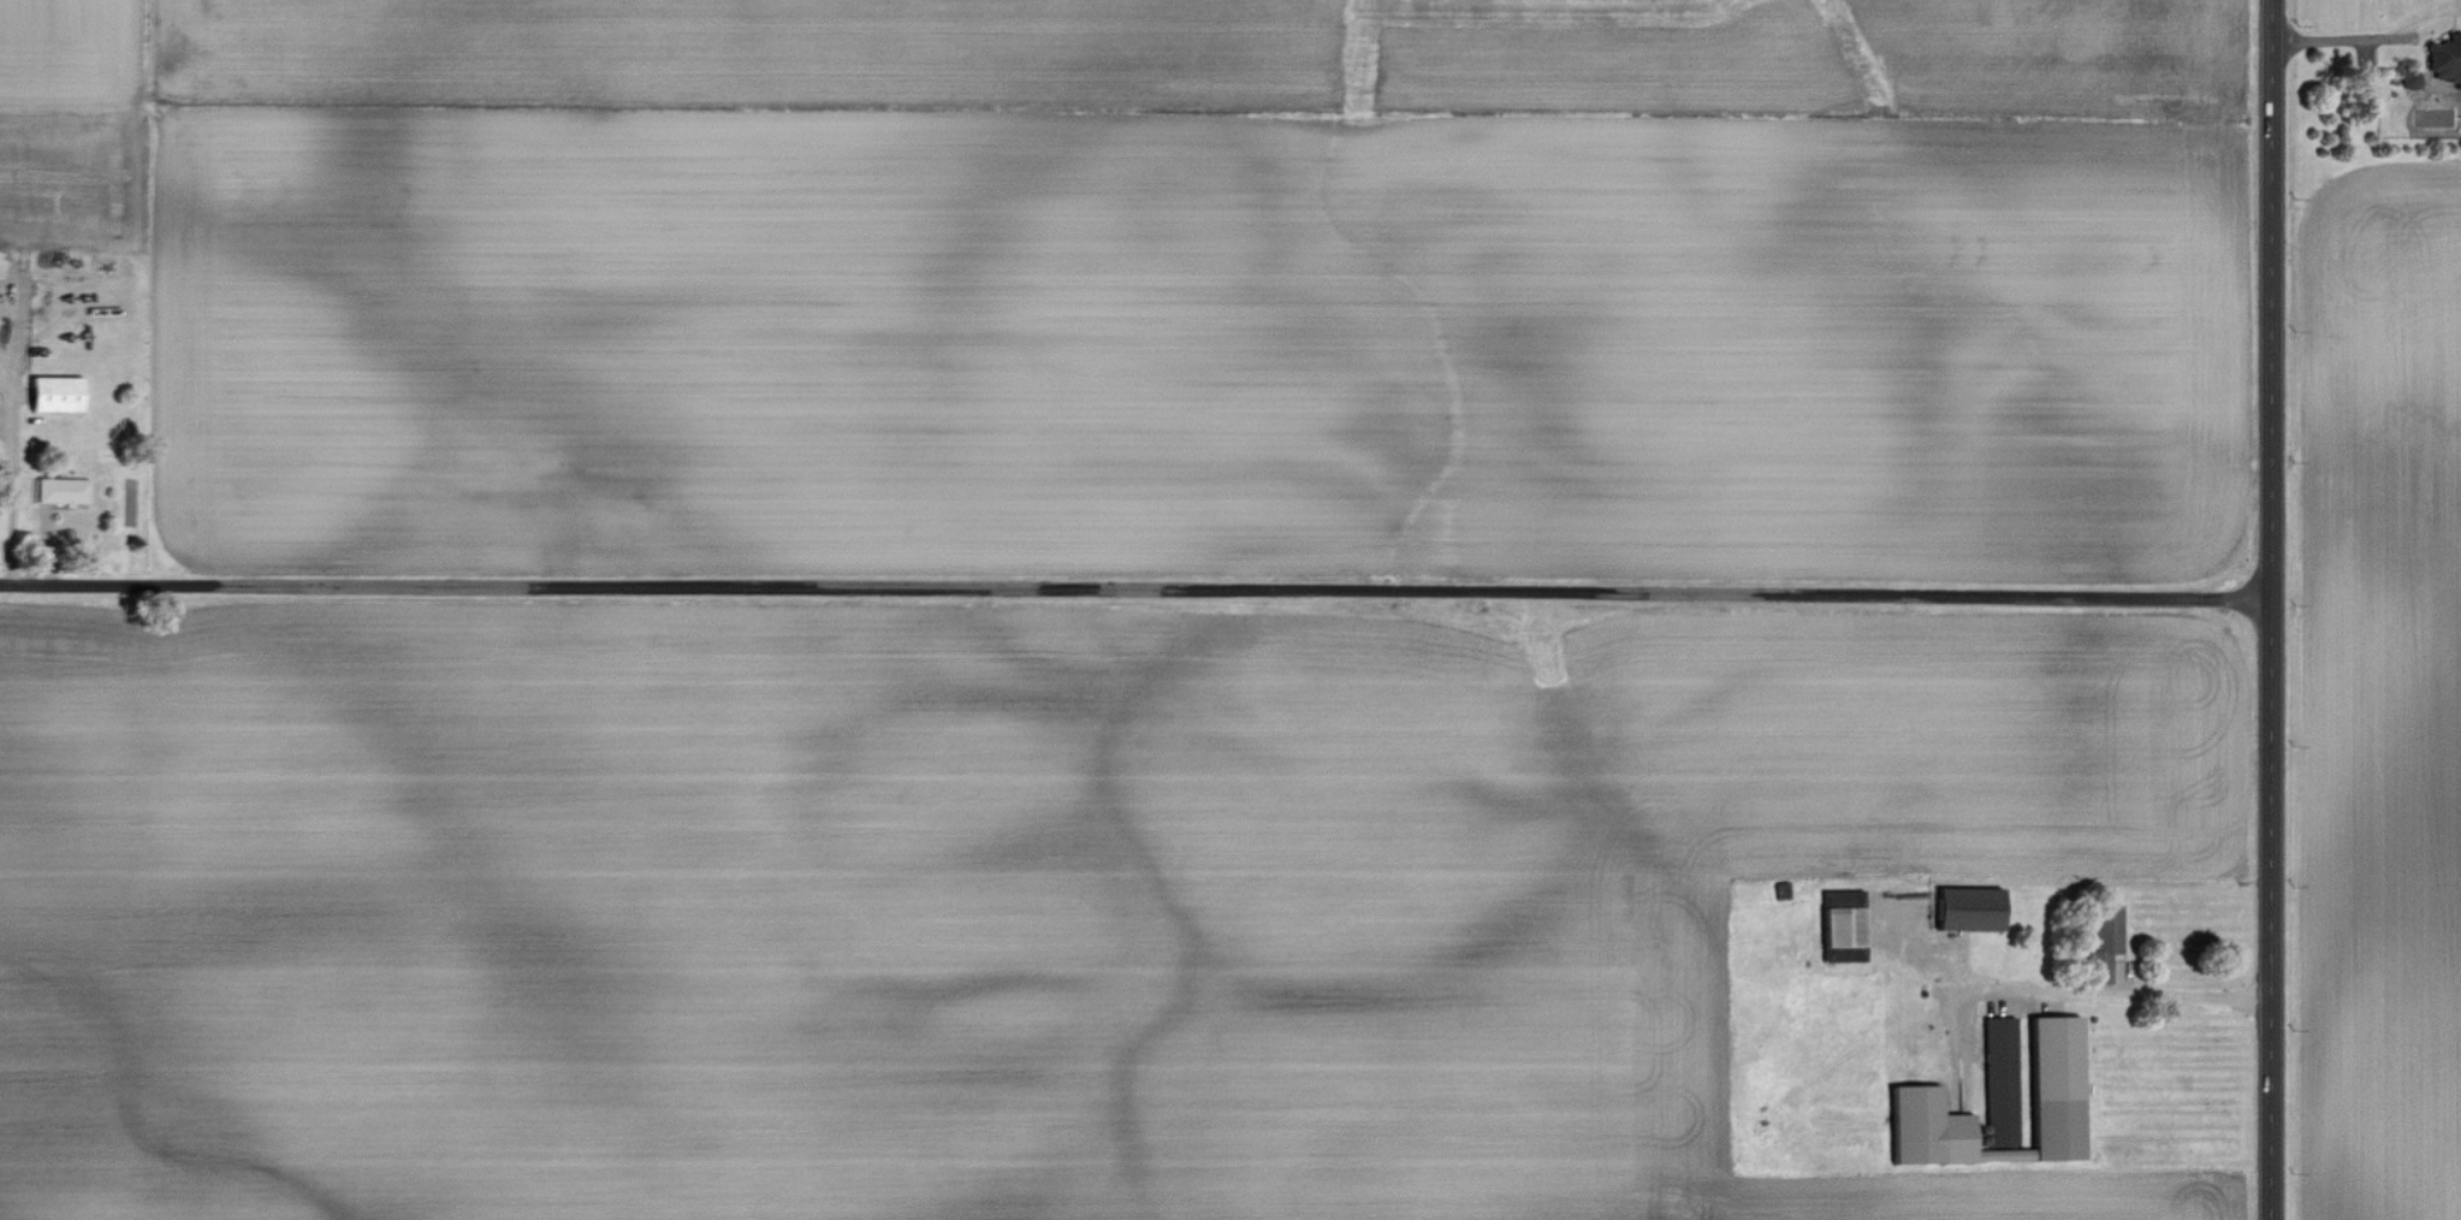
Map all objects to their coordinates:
road: (2362, 36)
building: (2445, 59)
road: (11, 473)
building: (69, 490)
road: (1134, 588)
road: (2269, 609)
building: (1968, 907)
building: (1840, 923)
building: (2104, 940)
road: (2104, 995)
building: (1999, 1080)
building: (2053, 1082)
building: (1926, 1126)

